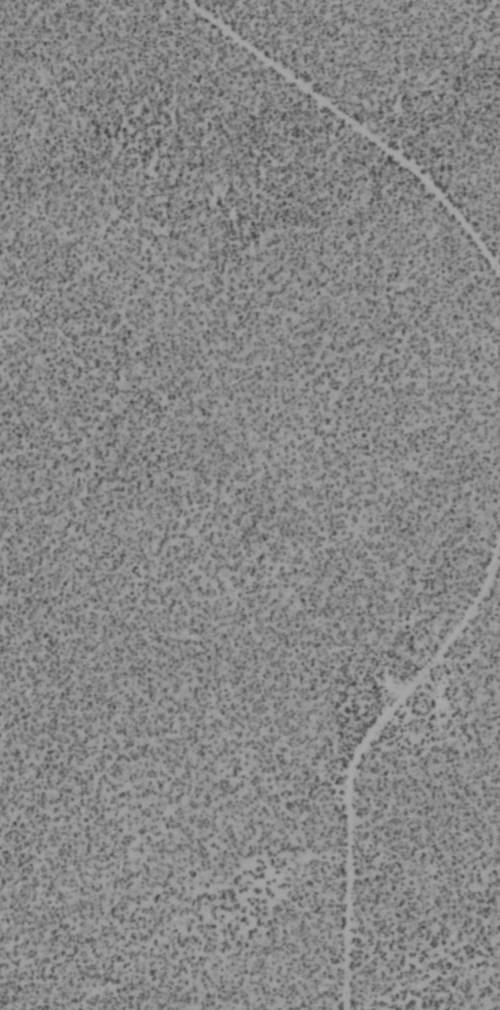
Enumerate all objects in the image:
road: (361, 121)
road: (360, 762)
road: (353, 1009)

